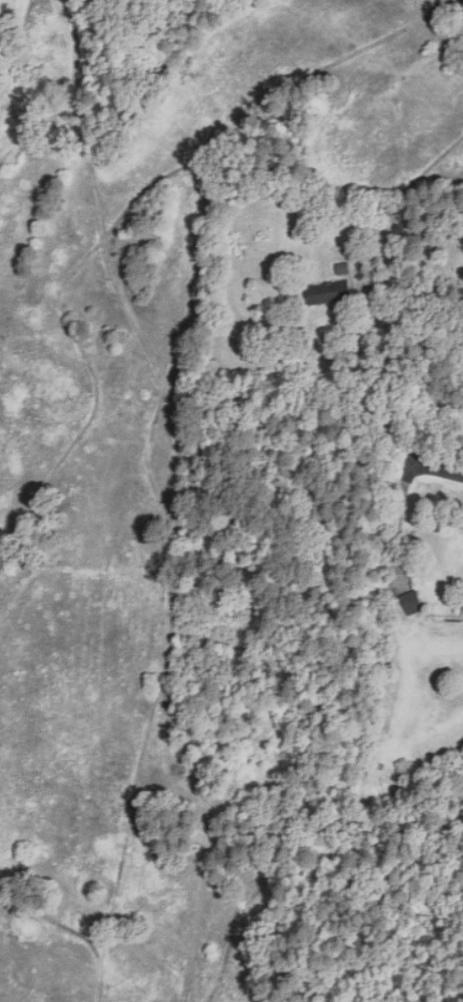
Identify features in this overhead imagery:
building: (327, 292)
road: (389, 369)
road: (437, 472)
road: (400, 528)
building: (412, 602)

